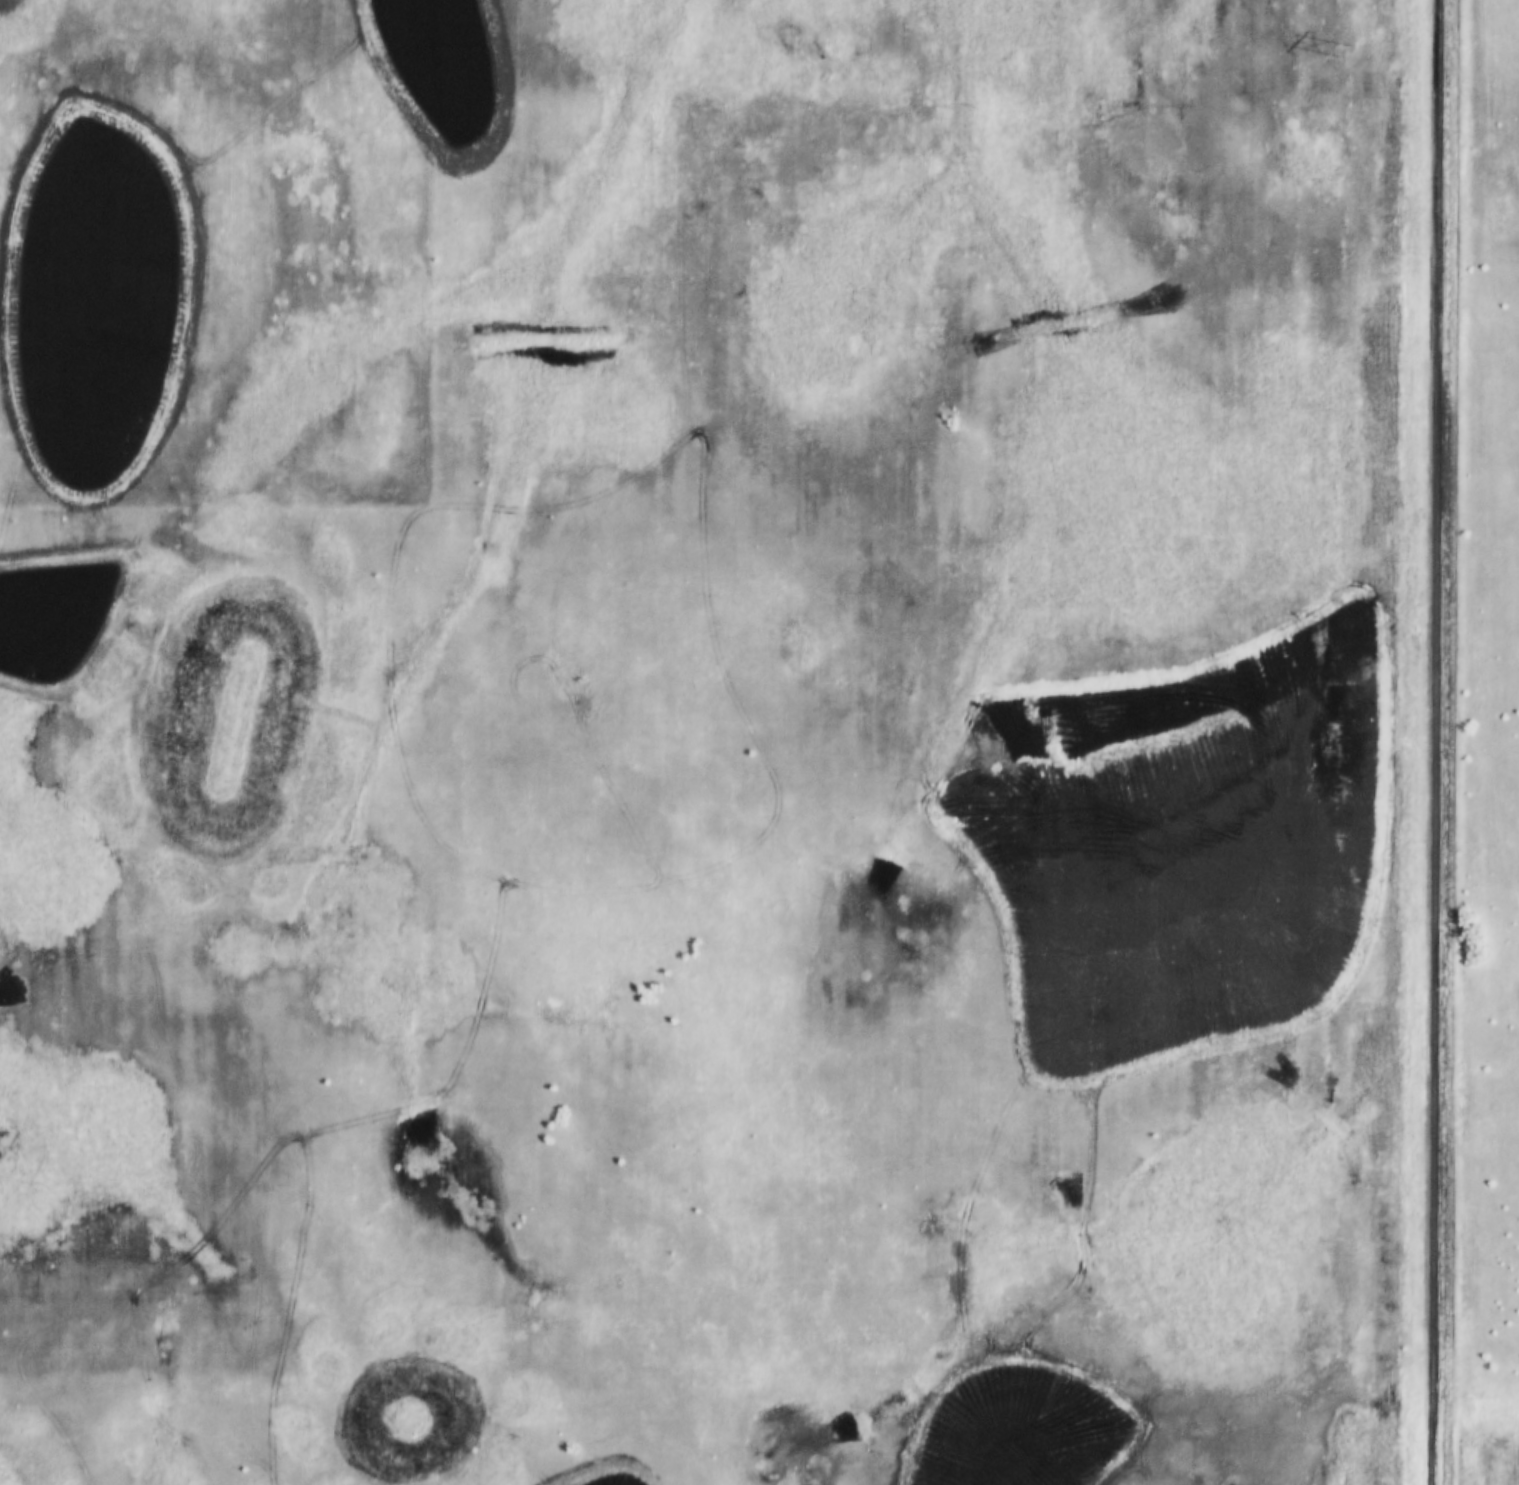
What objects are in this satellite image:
power tower: (1346, 50)
road: (1448, 742)

